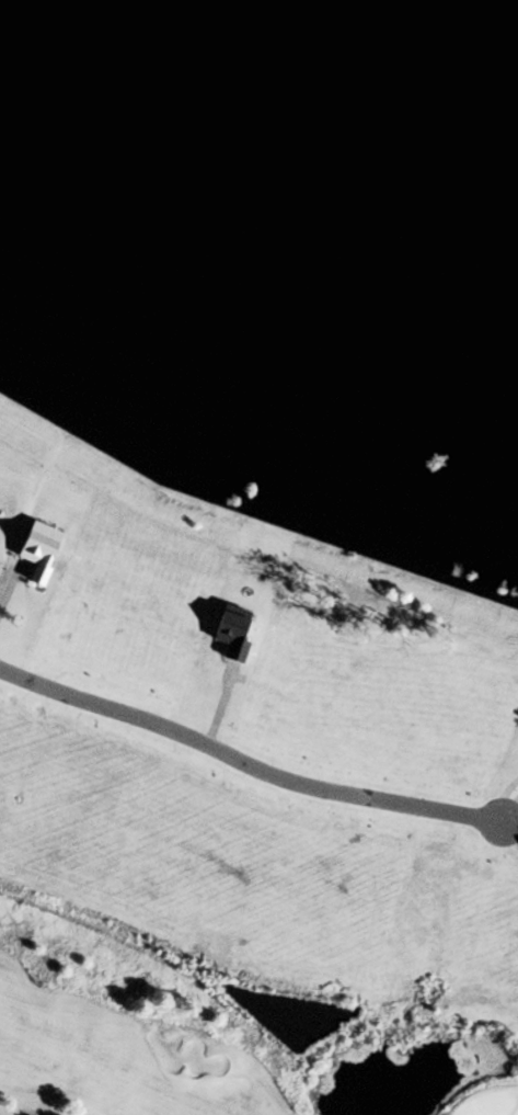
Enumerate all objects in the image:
building: (36, 557)
road: (7, 584)
building: (229, 639)
road: (174, 687)
road: (243, 765)
road: (499, 799)
road: (506, 810)
road: (507, 820)
road: (507, 833)
park: (486, 1104)

